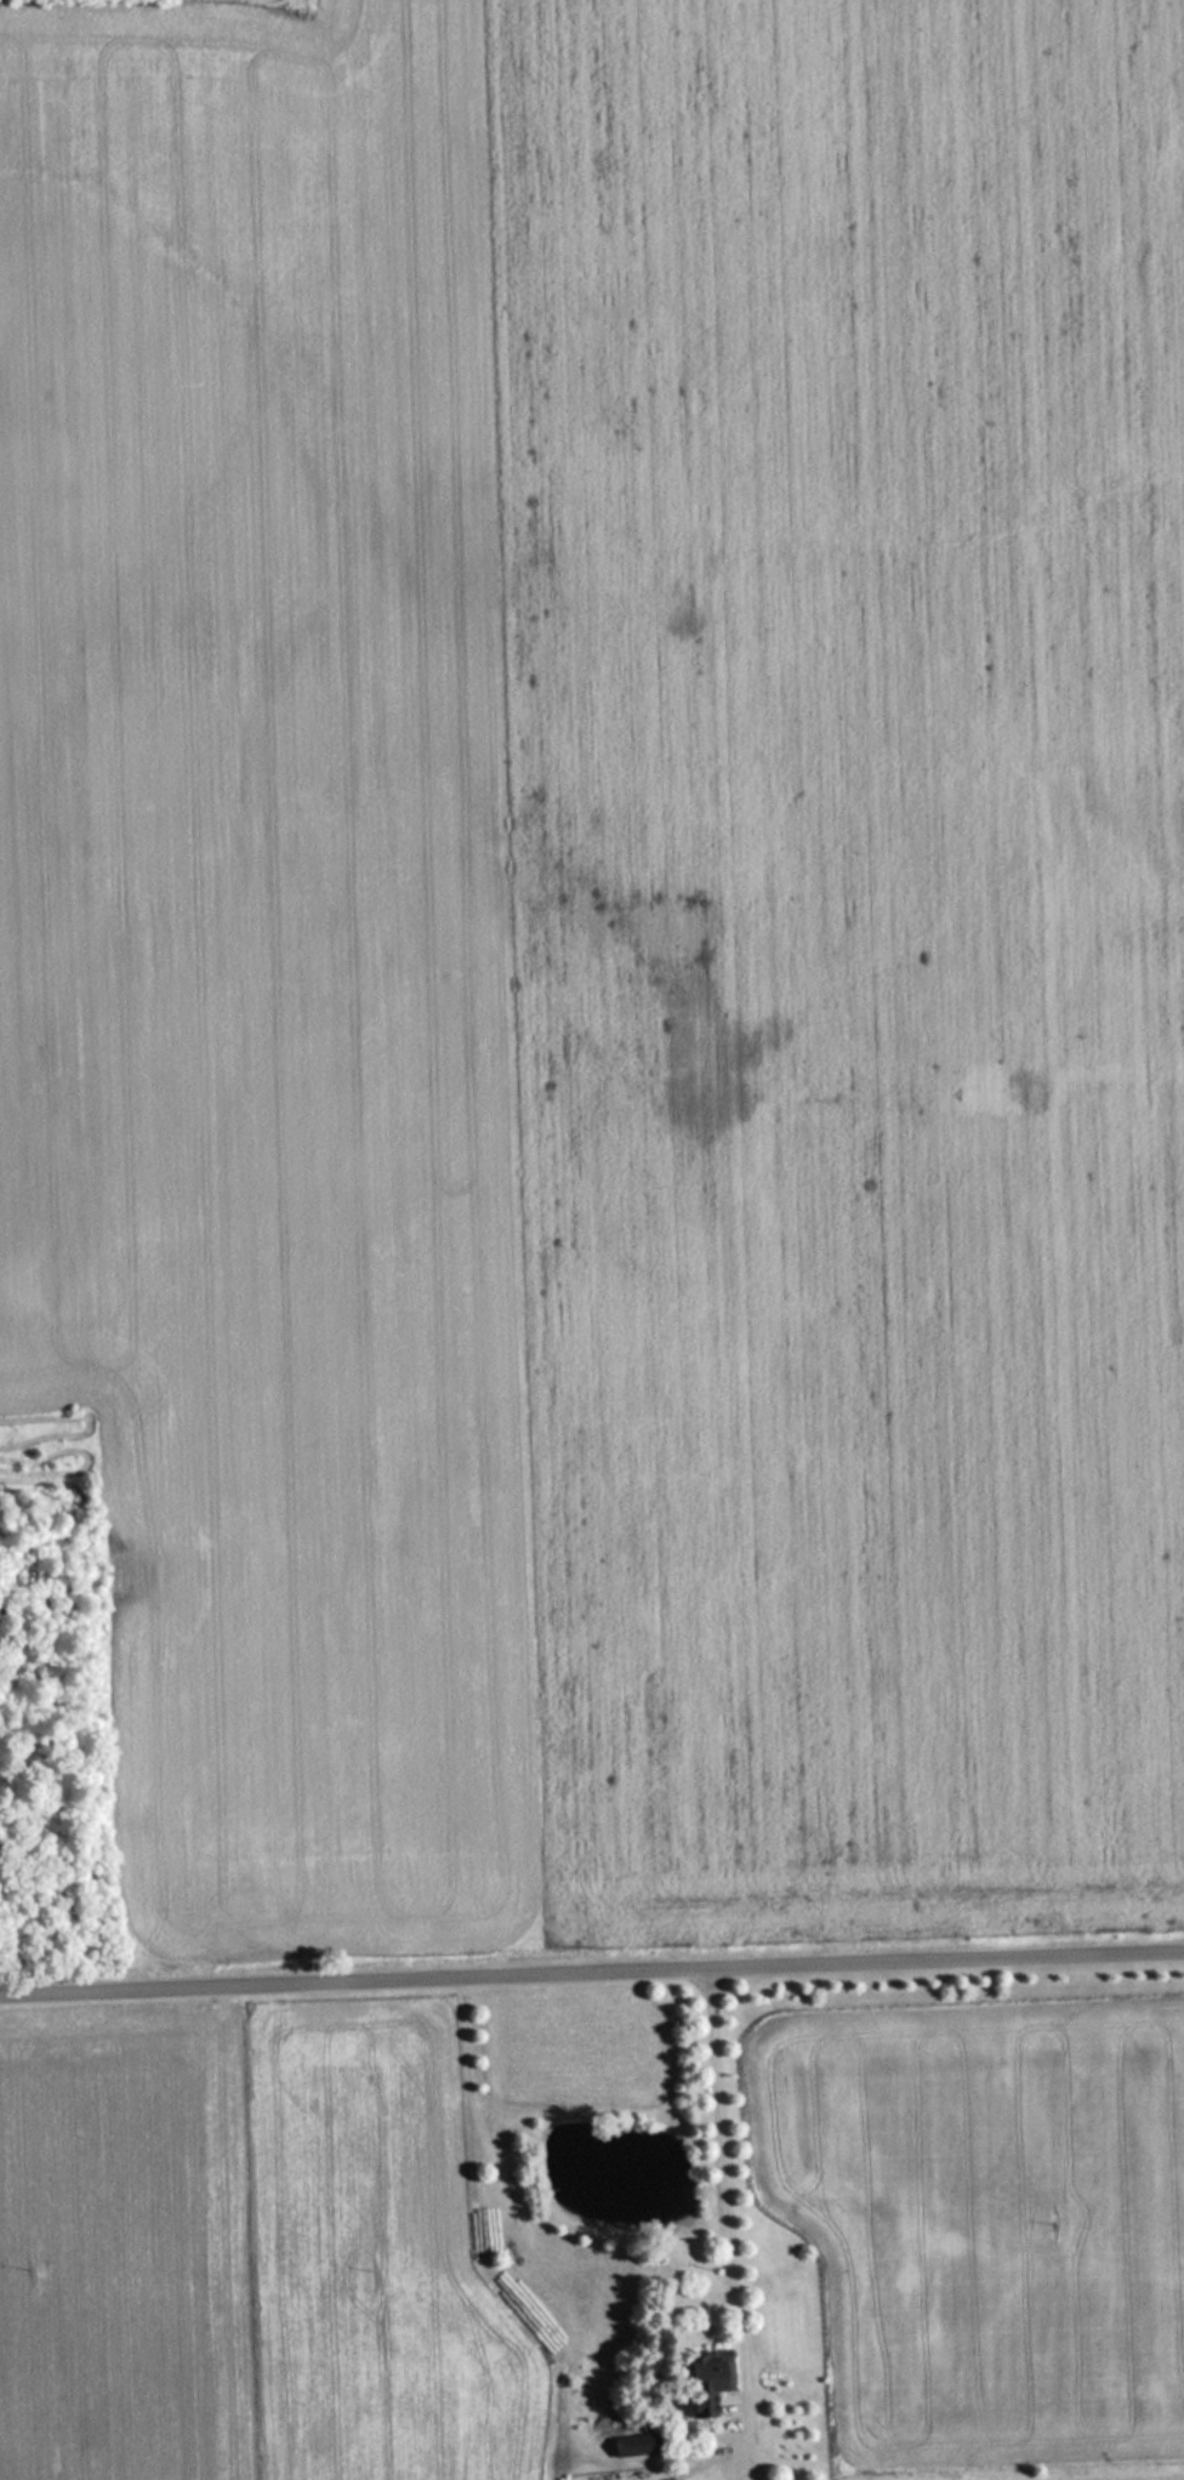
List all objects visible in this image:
road: (592, 1968)
building: (707, 2381)
building: (634, 2444)

